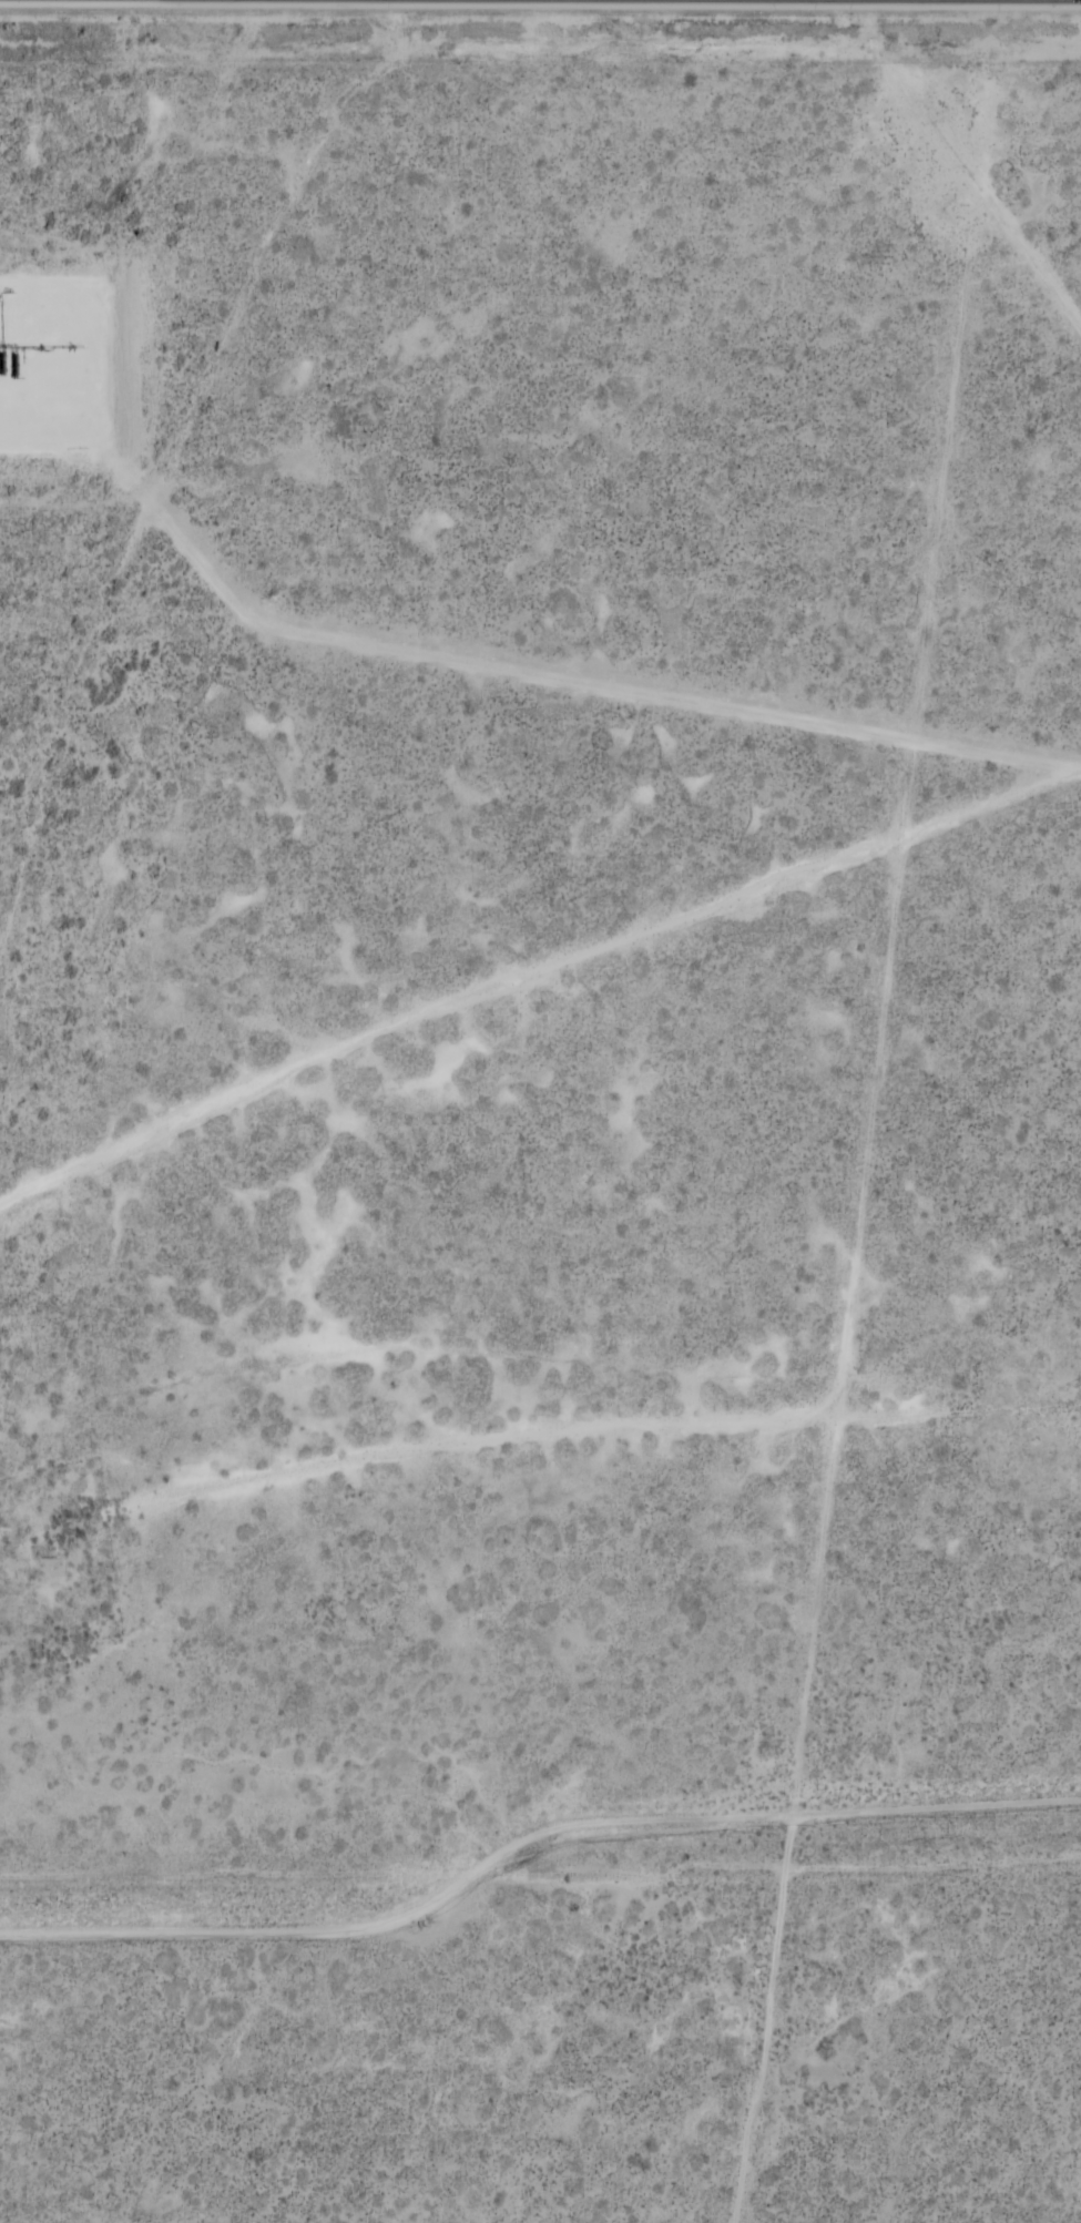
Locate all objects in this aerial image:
road: (959, 0)

